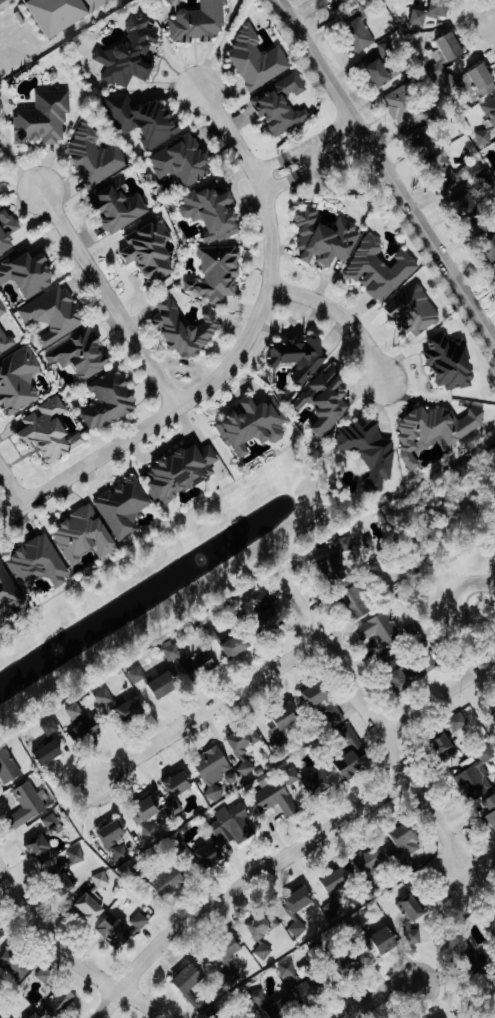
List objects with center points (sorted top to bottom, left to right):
building: (7, 4)
road: (307, 8)
building: (432, 12)
building: (64, 13)
building: (200, 22)
building: (359, 35)
building: (452, 47)
building: (390, 48)
building: (131, 54)
building: (258, 59)
building: (372, 61)
building: (438, 71)
building: (380, 74)
building: (473, 81)
building: (282, 104)
building: (402, 104)
building: (45, 117)
building: (145, 119)
building: (487, 123)
road: (329, 131)
building: (421, 138)
building: (1, 150)
road: (341, 151)
building: (95, 155)
road: (312, 155)
road: (279, 159)
building: (183, 161)
road: (387, 172)
road: (291, 179)
building: (121, 207)
building: (214, 212)
building: (7, 228)
building: (325, 237)
building: (491, 244)
building: (151, 250)
building: (380, 269)
building: (28, 272)
building: (217, 273)
road: (108, 299)
building: (3, 310)
building: (415, 311)
road: (342, 312)
building: (54, 314)
building: (187, 328)
building: (6, 341)
building: (81, 354)
road: (239, 355)
building: (299, 356)
building: (451, 361)
building: (19, 380)
building: (110, 400)
building: (329, 400)
building: (254, 424)
building: (435, 429)
building: (51, 430)
building: (493, 446)
building: (370, 450)
building: (184, 471)
road: (11, 488)
building: (124, 507)
building: (86, 535)
building: (341, 556)
building: (39, 563)
building: (8, 588)
building: (360, 602)
building: (268, 612)
building: (380, 629)
building: (238, 645)
building: (192, 661)
building: (423, 671)
building: (137, 675)
building: (164, 685)
road: (437, 694)
building: (105, 699)
building: (325, 703)
building: (131, 710)
road: (207, 710)
building: (494, 715)
building: (283, 719)
road: (372, 721)
building: (82, 722)
building: (460, 722)
building: (51, 726)
building: (245, 741)
building: (447, 749)
building: (51, 753)
building: (353, 754)
building: (9, 767)
building: (247, 768)
building: (214, 770)
building: (477, 777)
building: (319, 782)
building: (180, 784)
building: (278, 793)
building: (28, 804)
building: (491, 809)
building: (147, 817)
building: (53, 824)
building: (234, 825)
building: (113, 833)
building: (407, 840)
building: (42, 849)
building: (121, 854)
building: (77, 856)
building: (211, 856)
building: (338, 880)
building: (170, 881)
road: (242, 884)
building: (413, 908)
building: (299, 909)
building: (333, 909)
building: (262, 926)
building: (121, 929)
building: (2, 933)
building: (387, 940)
building: (232, 948)
building: (264, 952)
road: (70, 958)
building: (17, 963)
building: (353, 966)
building: (288, 969)
building: (46, 975)
building: (231, 980)
building: (313, 989)
building: (187, 990)
road: (378, 995)
building: (258, 998)
building: (59, 1001)
building: (285, 1007)
building: (7, 1016)
building: (36, 1016)

